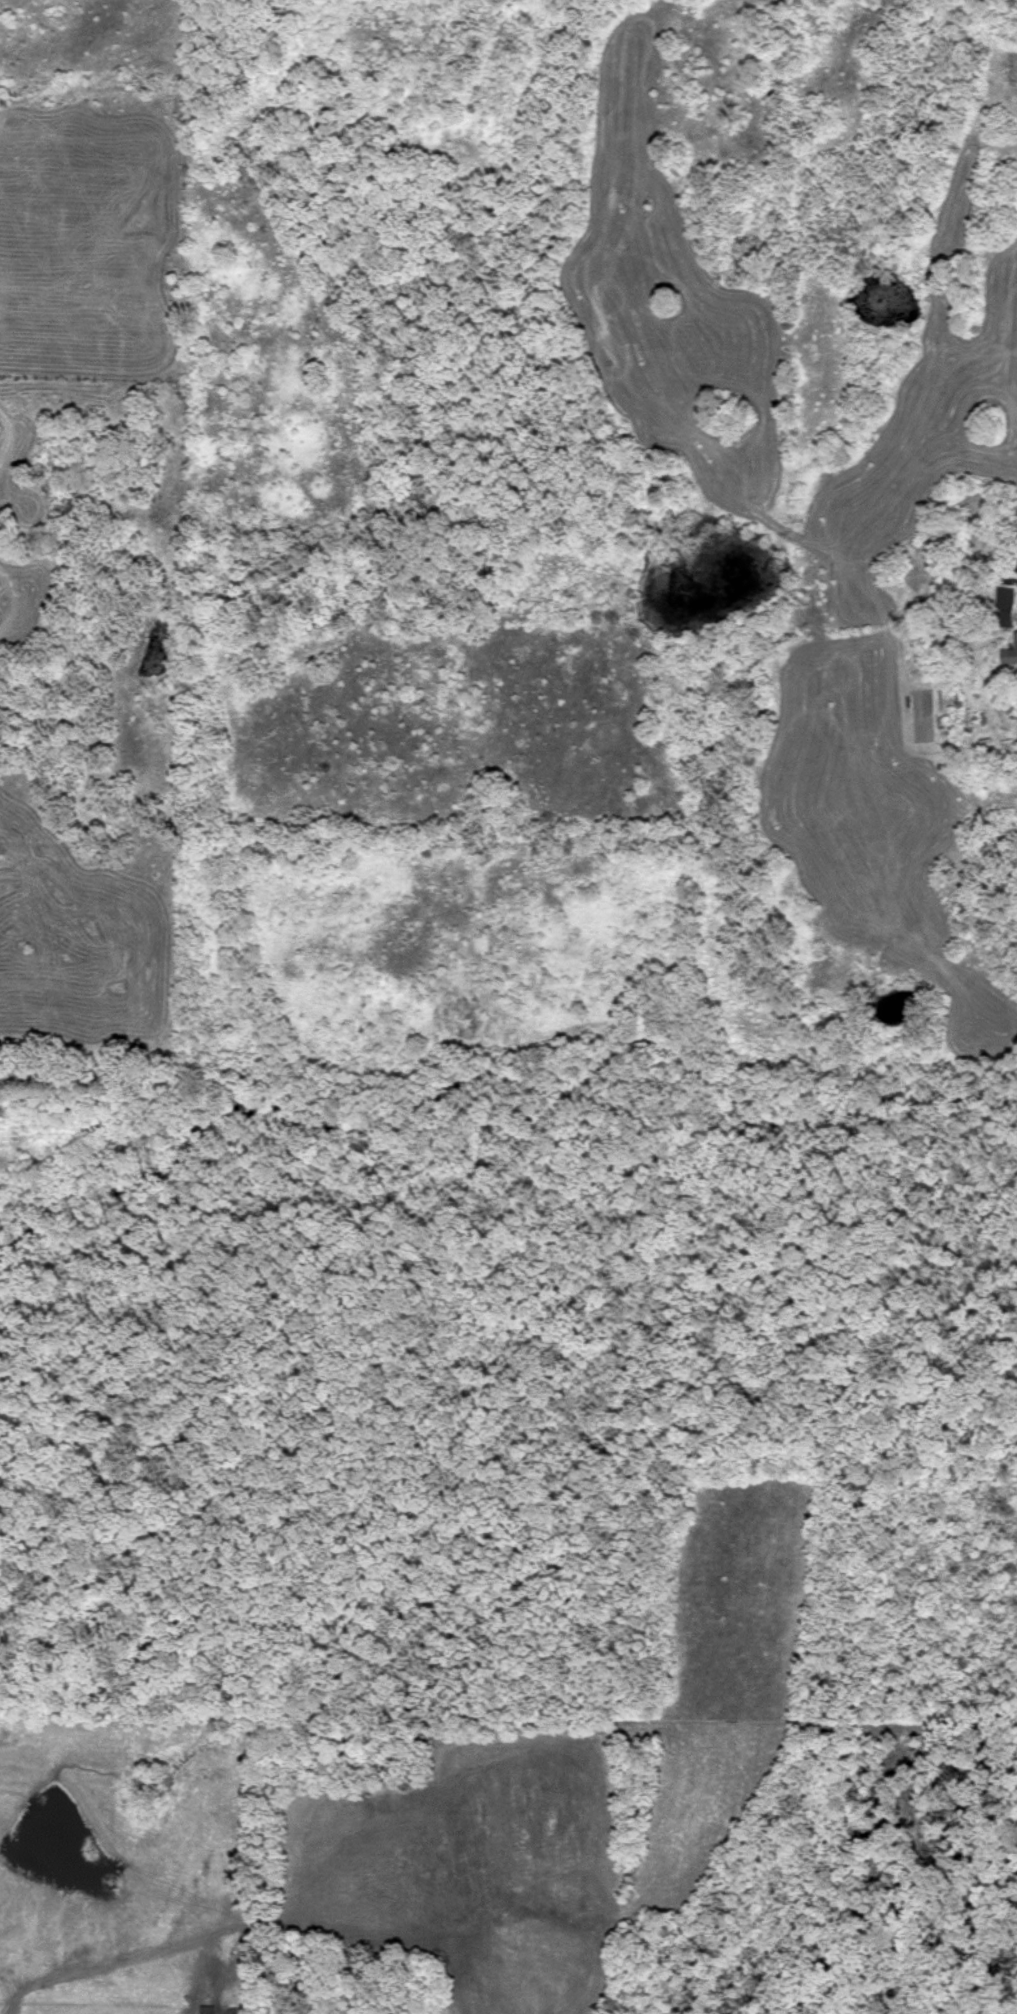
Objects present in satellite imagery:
building: (1004, 610)
building: (968, 622)
building: (939, 624)

